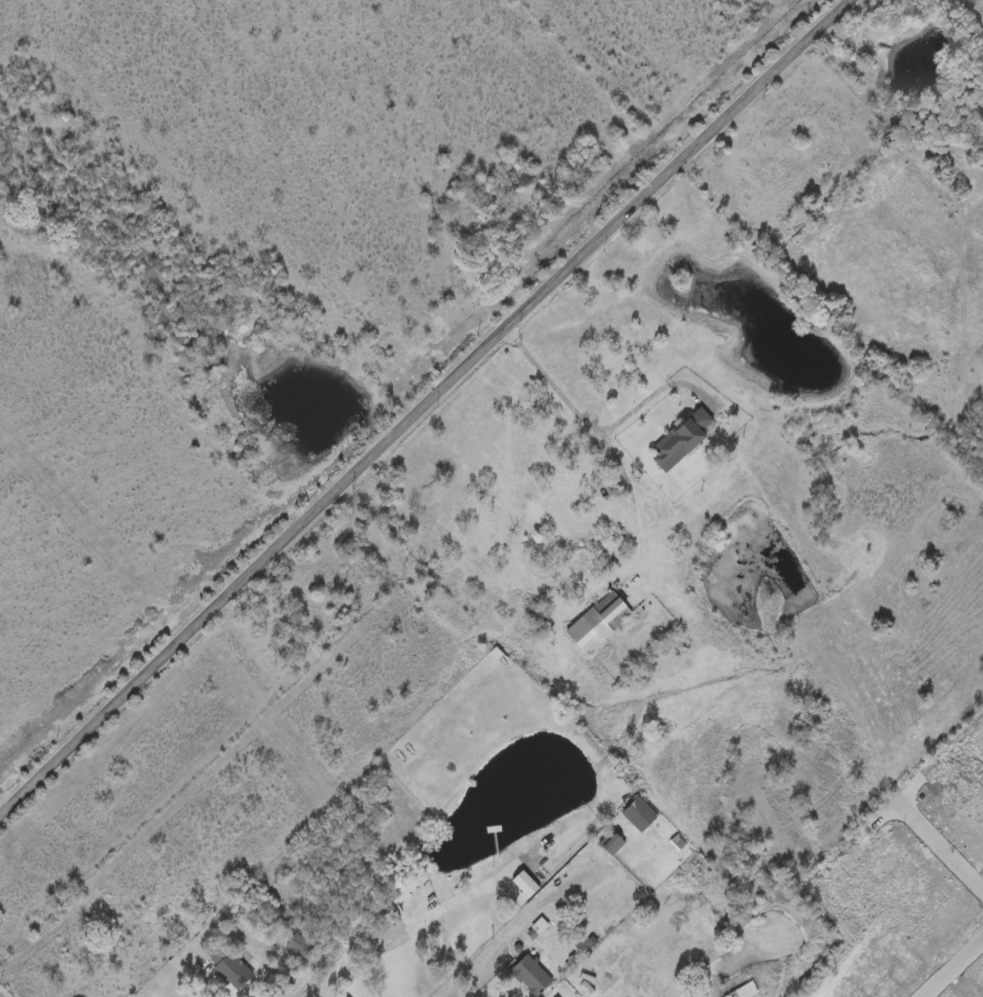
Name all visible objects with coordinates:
road: (732, 144)
building: (842, 179)
road: (422, 407)
road: (614, 425)
road: (608, 435)
building: (681, 441)
building: (597, 625)
road: (942, 841)
building: (614, 846)
building: (521, 890)
road: (412, 928)
building: (228, 966)
road: (953, 969)
road: (469, 979)

